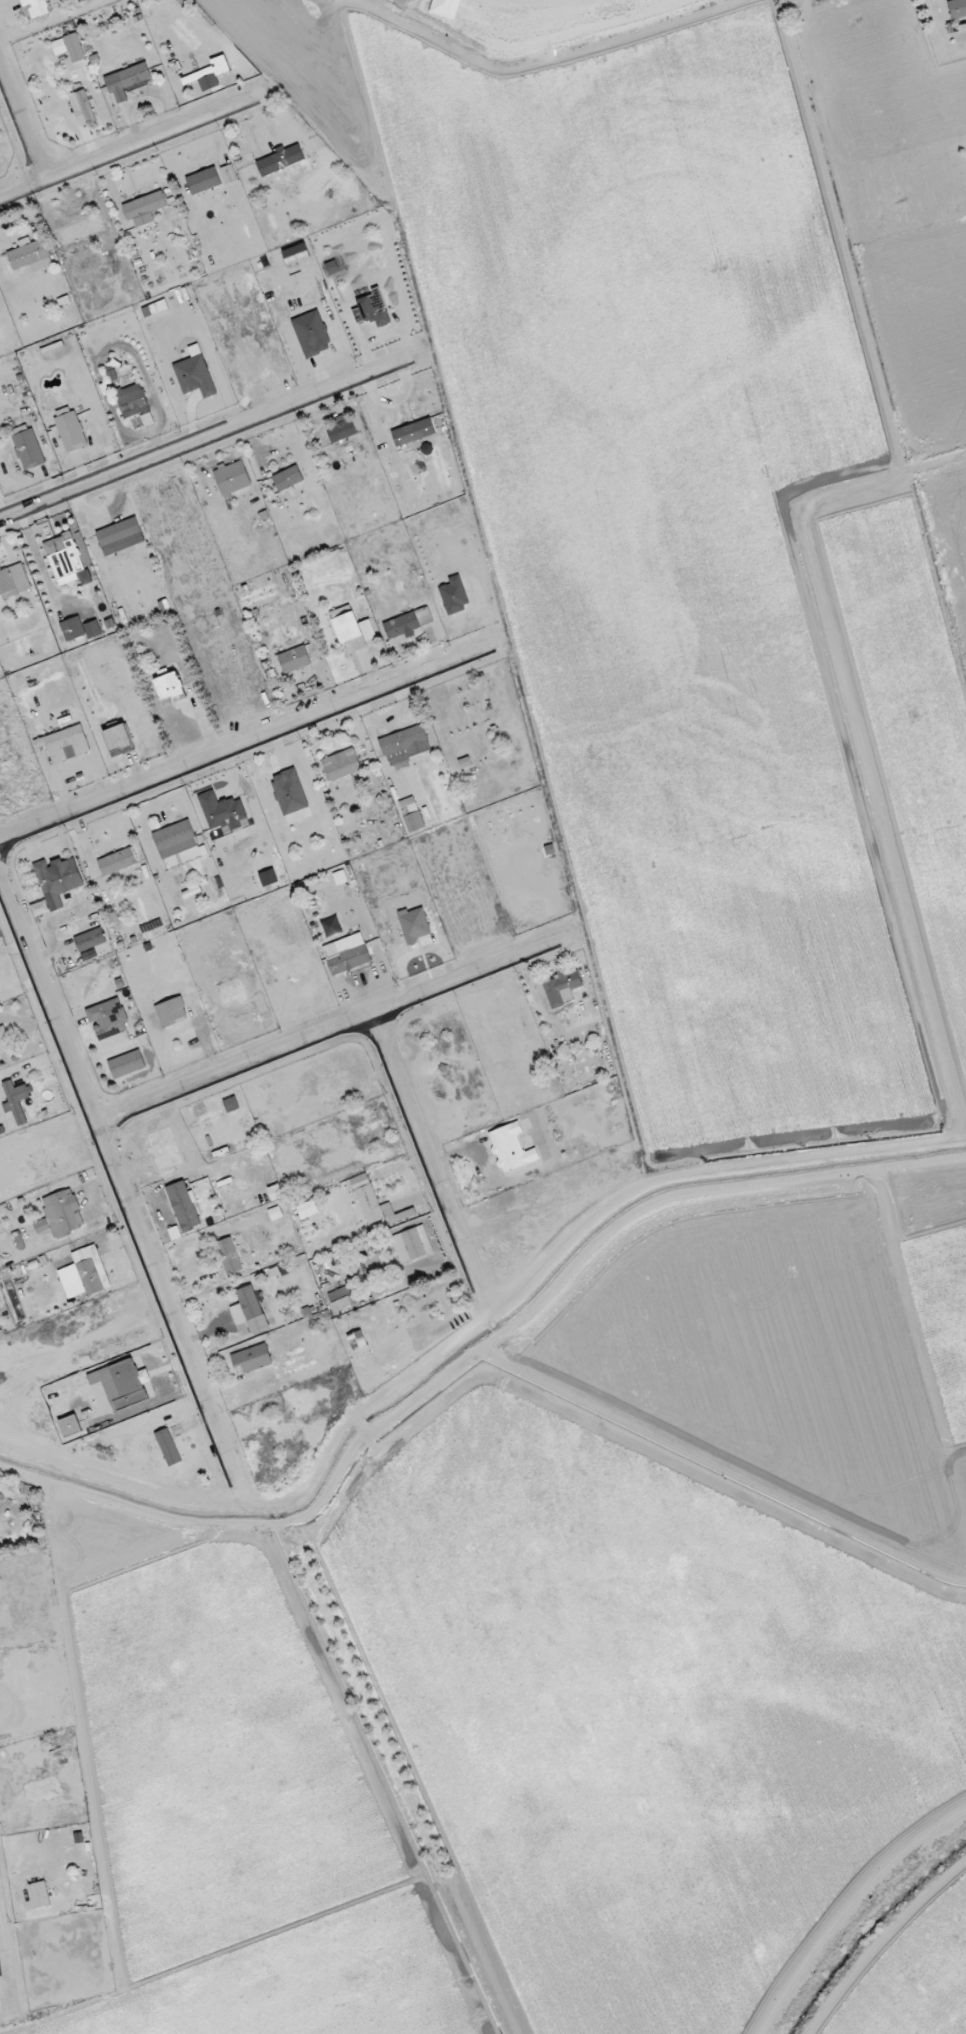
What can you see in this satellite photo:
building: (36, 7)
building: (957, 8)
building: (69, 47)
building: (126, 80)
building: (82, 107)
road: (23, 121)
road: (129, 148)
building: (280, 162)
building: (228, 174)
building: (203, 181)
building: (144, 208)
building: (81, 230)
building: (30, 255)
building: (372, 309)
building: (135, 406)
building: (69, 429)
building: (341, 430)
building: (413, 432)
road: (206, 438)
building: (27, 447)
building: (232, 477)
building: (288, 478)
building: (118, 532)
building: (66, 560)
building: (13, 580)
building: (455, 594)
building: (408, 623)
building: (352, 628)
building: (79, 629)
building: (294, 659)
building: (169, 686)
building: (119, 740)
road: (246, 743)
building: (65, 744)
building: (405, 744)
building: (341, 764)
building: (289, 791)
building: (222, 811)
building: (411, 814)
building: (175, 839)
building: (117, 861)
building: (55, 883)
building: (414, 925)
building: (331, 926)
building: (90, 939)
building: (346, 954)
building: (561, 988)
building: (171, 1012)
building: (108, 1019)
road: (336, 1030)
building: (4, 1037)
building: (16, 1100)
building: (511, 1148)
road: (430, 1162)
road: (122, 1186)
building: (270, 1195)
building: (375, 1203)
building: (183, 1205)
building: (60, 1214)
building: (411, 1244)
building: (229, 1255)
building: (84, 1273)
building: (343, 1297)
building: (246, 1305)
road: (467, 1324)
building: (357, 1340)
building: (252, 1358)
building: (122, 1383)
building: (69, 1425)
building: (168, 1447)
building: (39, 1894)
road: (851, 1911)
road: (7, 1973)

